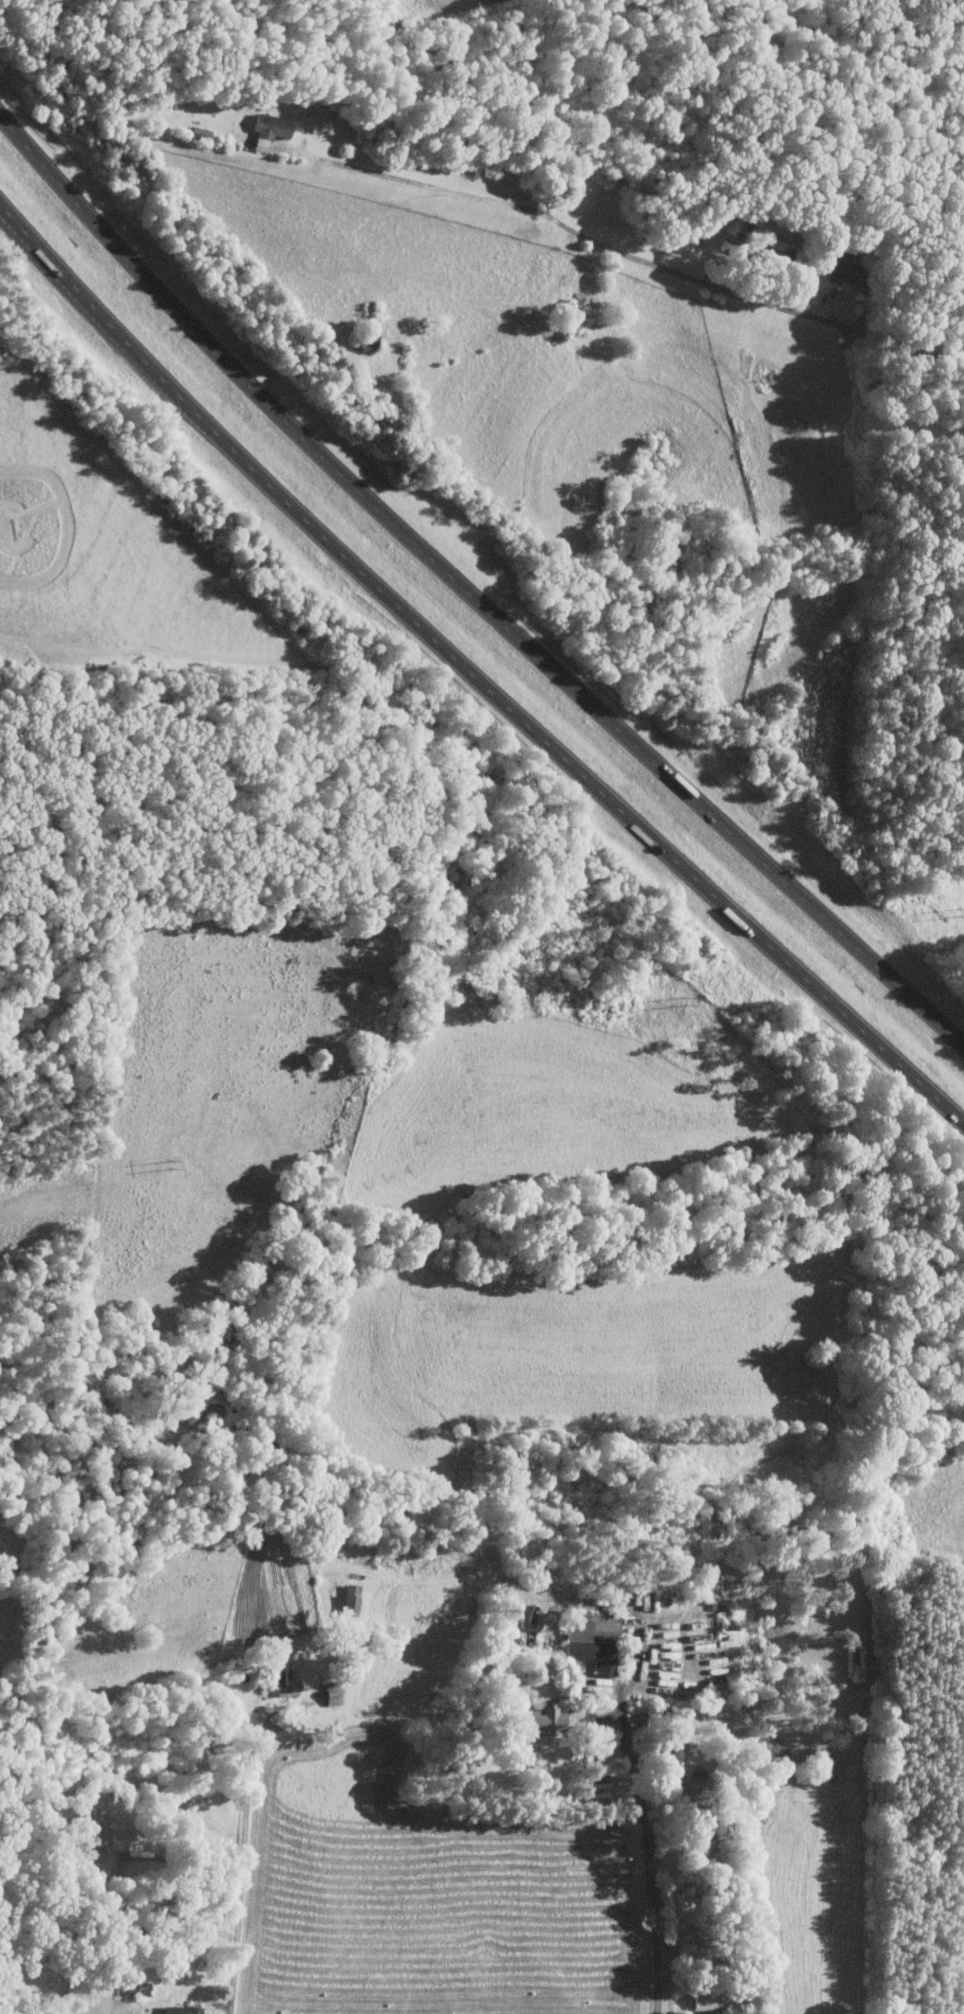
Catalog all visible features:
building: (267, 128)
building: (199, 132)
road: (430, 184)
building: (838, 268)
road: (763, 293)
road: (468, 582)
road: (472, 672)
building: (348, 1603)
building: (592, 1640)
building: (281, 1679)
road: (296, 1711)
building: (533, 1716)
road: (625, 1732)
building: (676, 1748)
building: (748, 1823)
building: (95, 1832)
road: (238, 1875)
road: (117, 1886)
road: (657, 1910)
building: (708, 1998)
building: (181, 2009)

